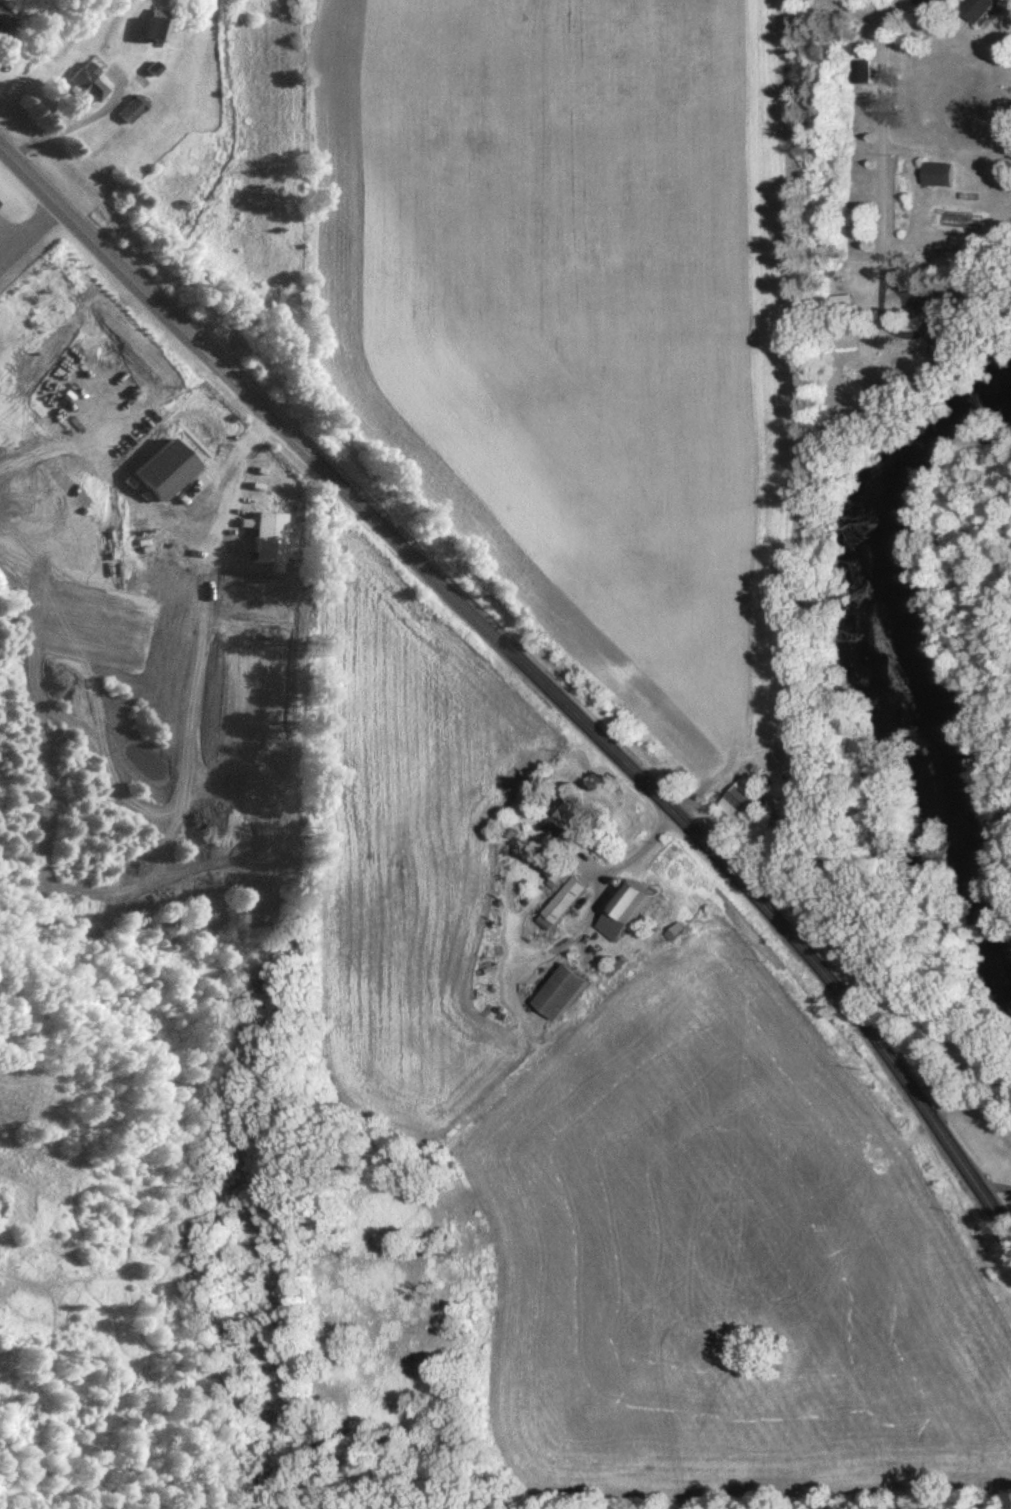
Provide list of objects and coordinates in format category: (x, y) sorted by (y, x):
building: (925, 5)
building: (975, 11)
road: (850, 18)
building: (3, 24)
building: (148, 30)
building: (82, 88)
building: (126, 113)
road: (69, 125)
road: (879, 127)
building: (936, 179)
building: (841, 306)
road: (181, 328)
road: (156, 485)
building: (263, 531)
river: (893, 658)
building: (740, 803)
building: (559, 823)
road: (712, 855)
road: (634, 856)
building: (559, 908)
building: (621, 915)
building: (556, 998)
building: (599, 1017)
road: (961, 1081)
road: (991, 1183)

